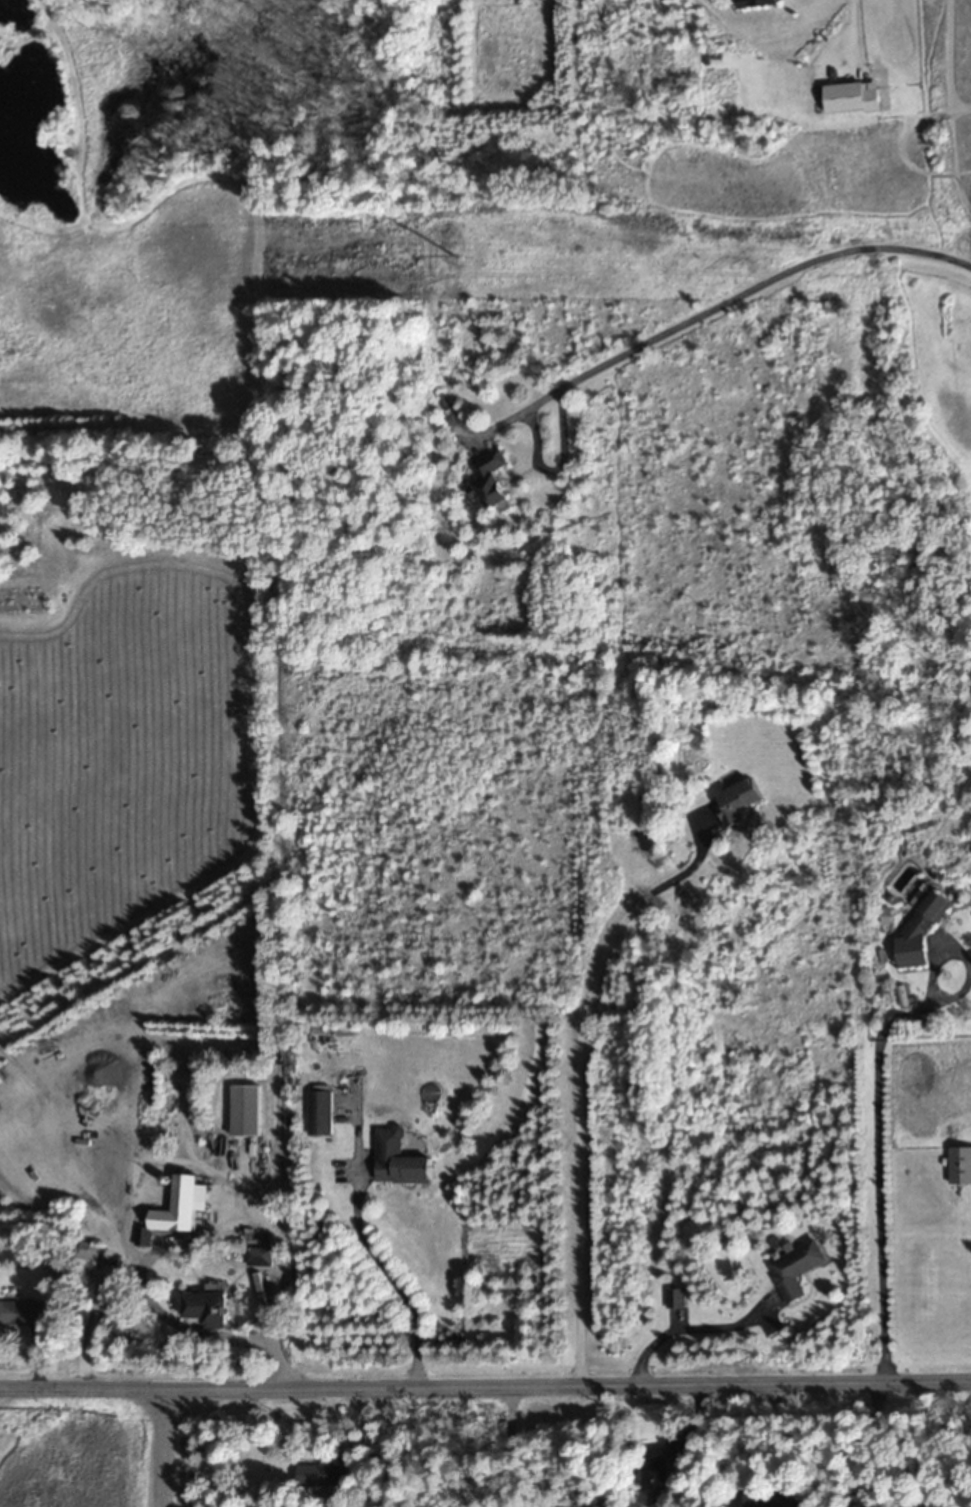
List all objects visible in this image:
building: (757, 4)
road: (854, 27)
building: (853, 99)
power tower: (477, 266)
road: (758, 288)
road: (541, 468)
building: (491, 480)
building: (738, 803)
building: (922, 928)
road: (578, 1081)
building: (247, 1113)
building: (321, 1114)
building: (400, 1161)
road: (878, 1162)
building: (960, 1167)
building: (176, 1213)
building: (91, 1257)
building: (260, 1258)
building: (797, 1271)
road: (392, 1280)
building: (676, 1301)
road: (154, 1304)
building: (210, 1310)
building: (22, 1313)
road: (687, 1331)
road: (485, 1388)
road: (878, 1445)
road: (511, 1447)
road: (160, 1449)
building: (657, 1471)
building: (325, 1474)
building: (772, 1500)

